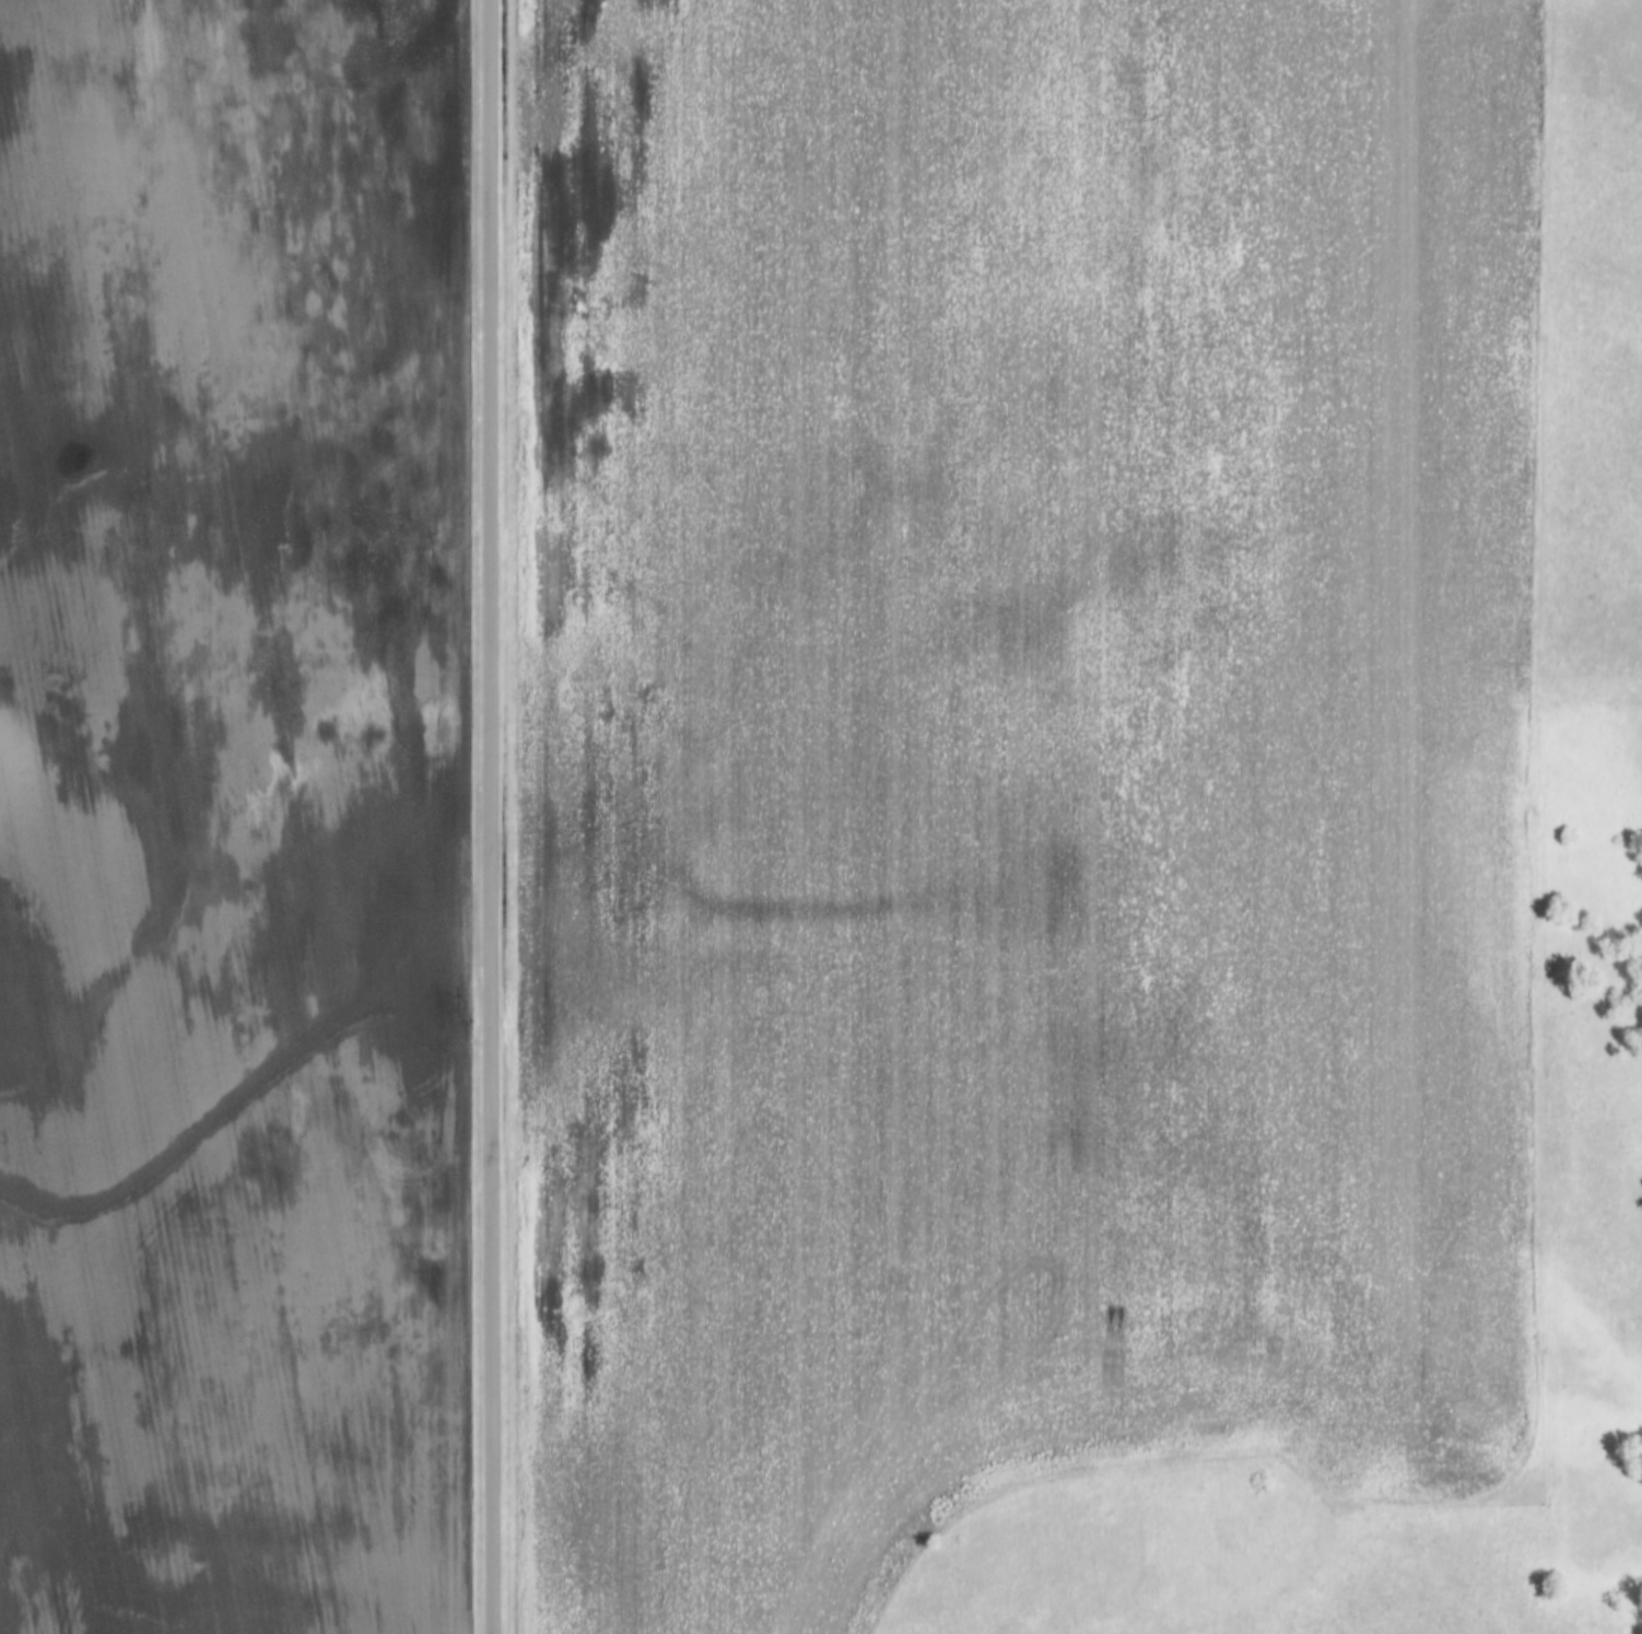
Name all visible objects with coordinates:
road: (491, 817)

